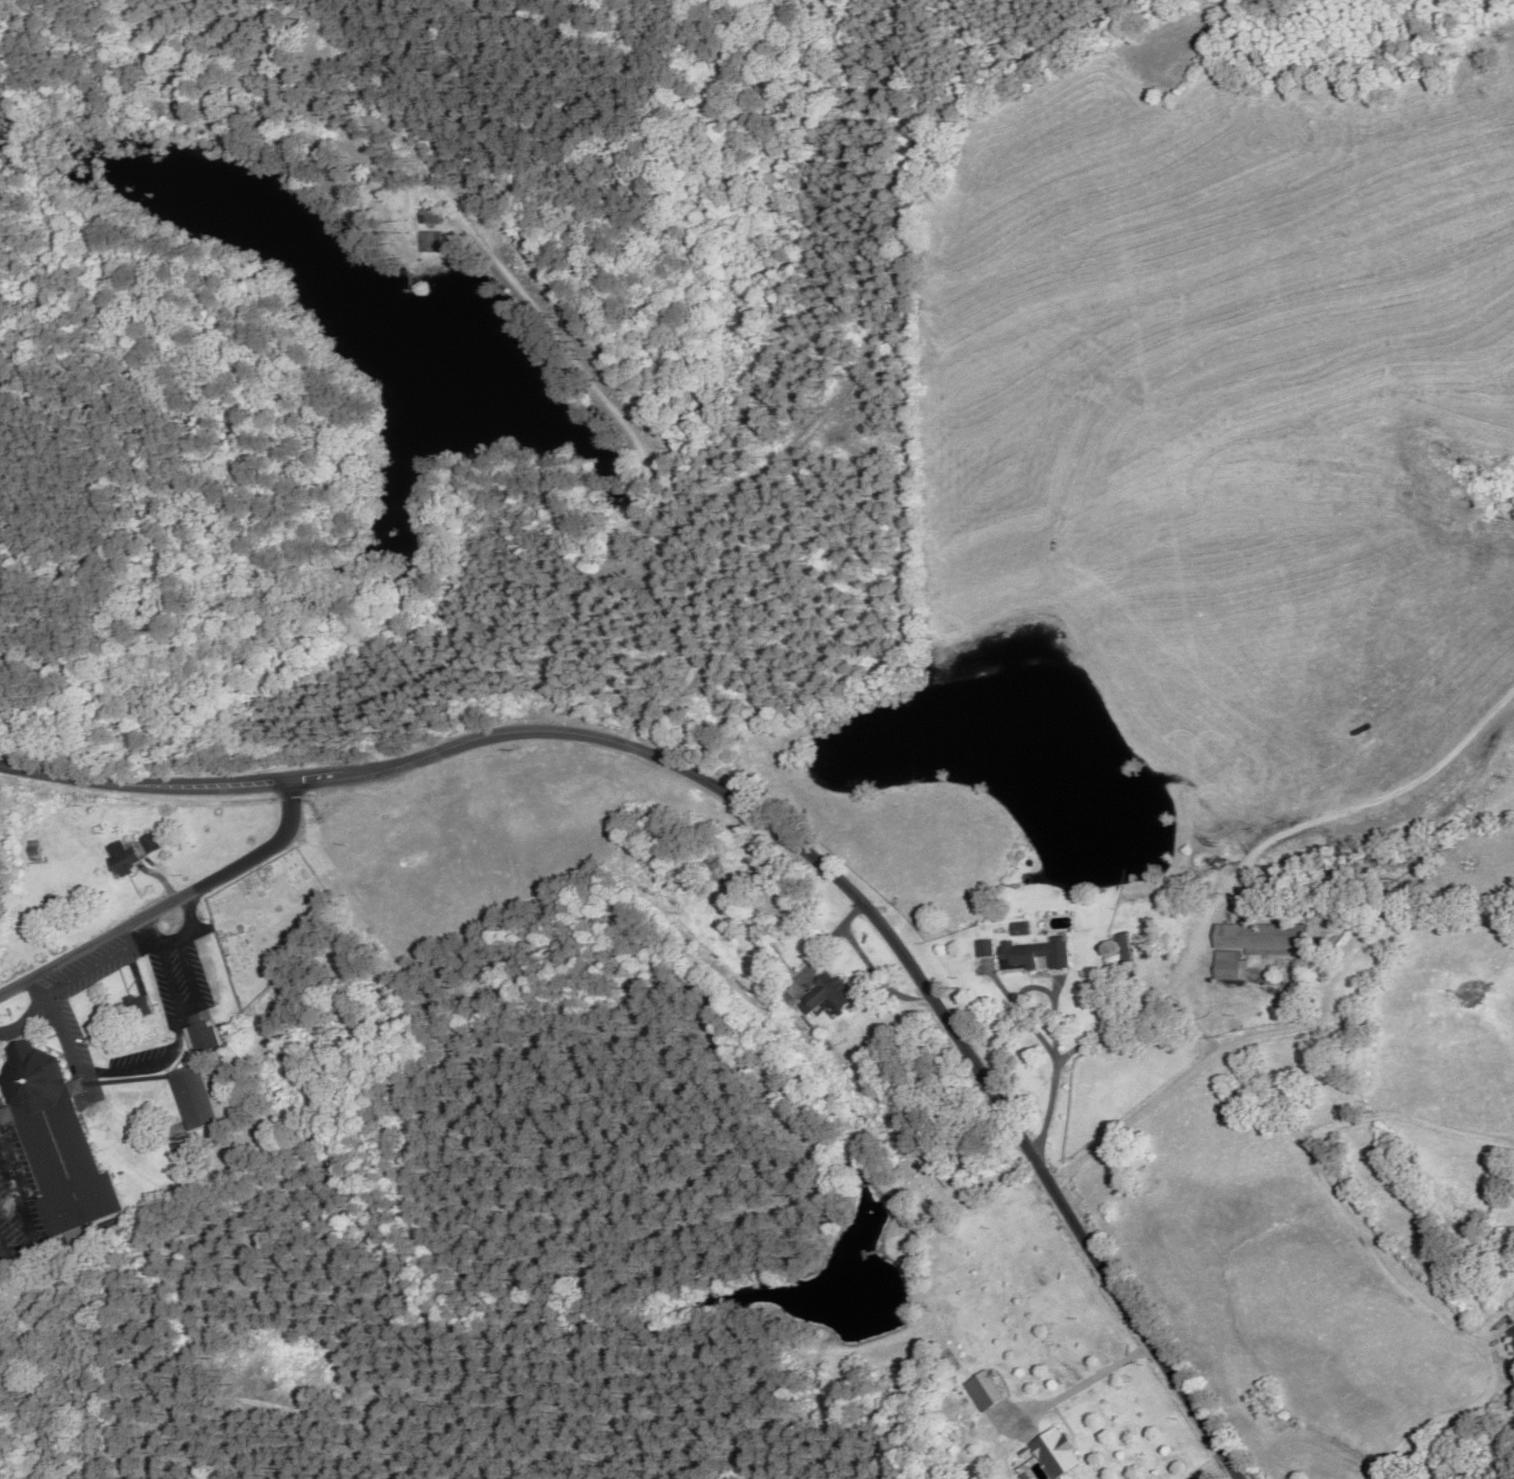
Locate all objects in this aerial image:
road: (574, 362)
road: (143, 787)
building: (148, 845)
building: (120, 858)
road: (166, 901)
road: (877, 925)
road: (170, 935)
building: (1259, 940)
building: (982, 950)
building: (1120, 950)
building: (1031, 957)
building: (1228, 968)
road: (82, 972)
building: (825, 995)
building: (135, 1008)
road: (25, 1017)
building: (200, 1036)
building: (192, 1099)
building: (54, 1145)
road: (1080, 1383)
building: (1054, 1453)

